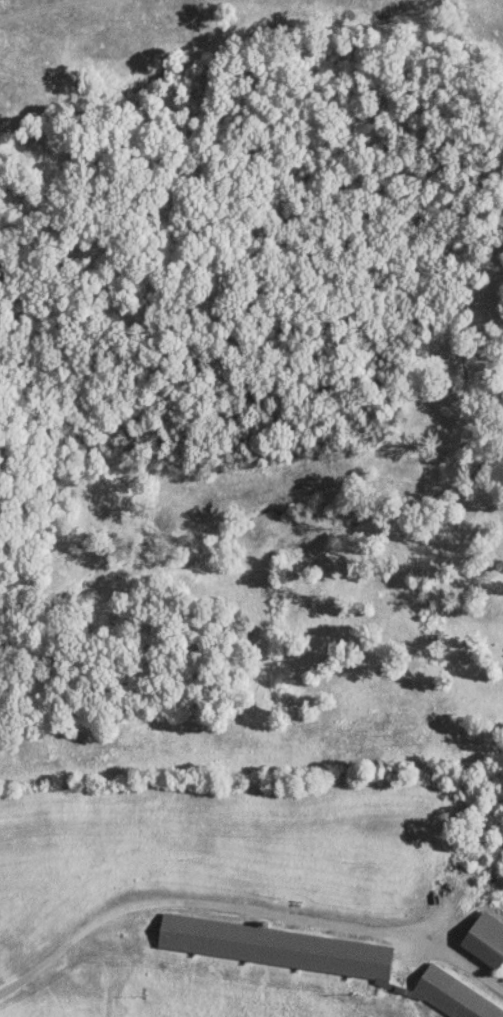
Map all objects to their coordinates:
road: (246, 908)
building: (486, 940)
building: (278, 947)
building: (449, 998)

